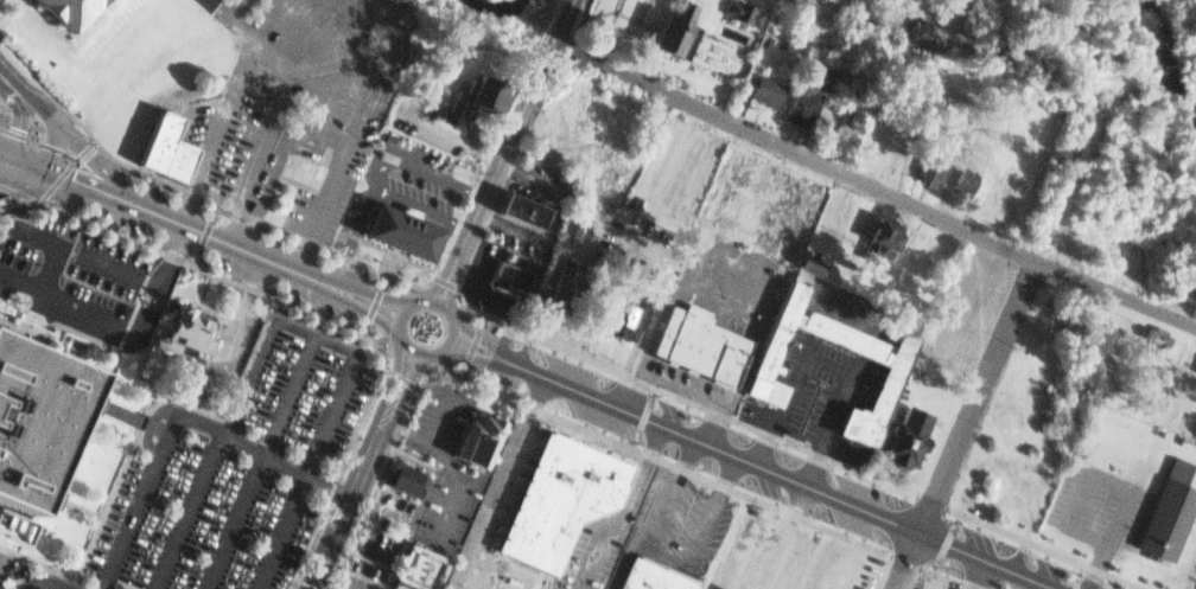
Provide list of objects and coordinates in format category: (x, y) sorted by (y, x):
river: (496, 6)
building: (65, 8)
road: (229, 8)
building: (738, 11)
road: (306, 25)
road: (349, 25)
building: (657, 26)
building: (920, 32)
river: (1179, 62)
road: (285, 69)
building: (827, 72)
building: (757, 89)
building: (478, 101)
building: (794, 103)
road: (1, 109)
road: (32, 115)
road: (220, 134)
building: (155, 142)
road: (38, 145)
road: (498, 149)
road: (19, 154)
road: (254, 154)
building: (925, 158)
road: (335, 164)
building: (299, 166)
road: (374, 172)
road: (65, 173)
road: (19, 177)
building: (958, 181)
road: (871, 187)
road: (19, 194)
building: (523, 212)
building: (387, 226)
road: (106, 231)
building: (571, 231)
road: (201, 233)
building: (869, 236)
road: (217, 237)
building: (883, 241)
road: (83, 254)
road: (295, 254)
road: (338, 254)
building: (803, 258)
road: (44, 264)
road: (158, 276)
building: (516, 276)
building: (1189, 279)
road: (443, 281)
building: (571, 293)
road: (66, 301)
road: (431, 301)
road: (369, 302)
building: (628, 315)
building: (178, 326)
road: (292, 328)
fountain: (421, 337)
building: (1143, 339)
building: (1157, 341)
road: (473, 342)
building: (699, 347)
road: (409, 350)
building: (890, 363)
building: (1191, 365)
road: (395, 378)
road: (371, 386)
road: (976, 396)
road: (645, 415)
road: (177, 417)
building: (133, 418)
building: (33, 422)
road: (591, 425)
building: (470, 435)
building: (899, 436)
road: (793, 443)
road: (254, 462)
road: (750, 462)
road: (360, 469)
building: (395, 476)
road: (1126, 488)
building: (562, 502)
building: (1164, 508)
road: (946, 540)
parking lot: (790, 556)
road: (909, 561)
road: (1095, 564)
building: (412, 566)
road: (885, 571)
building: (647, 576)
road: (1079, 576)
road: (42, 583)
building: (1195, 588)

